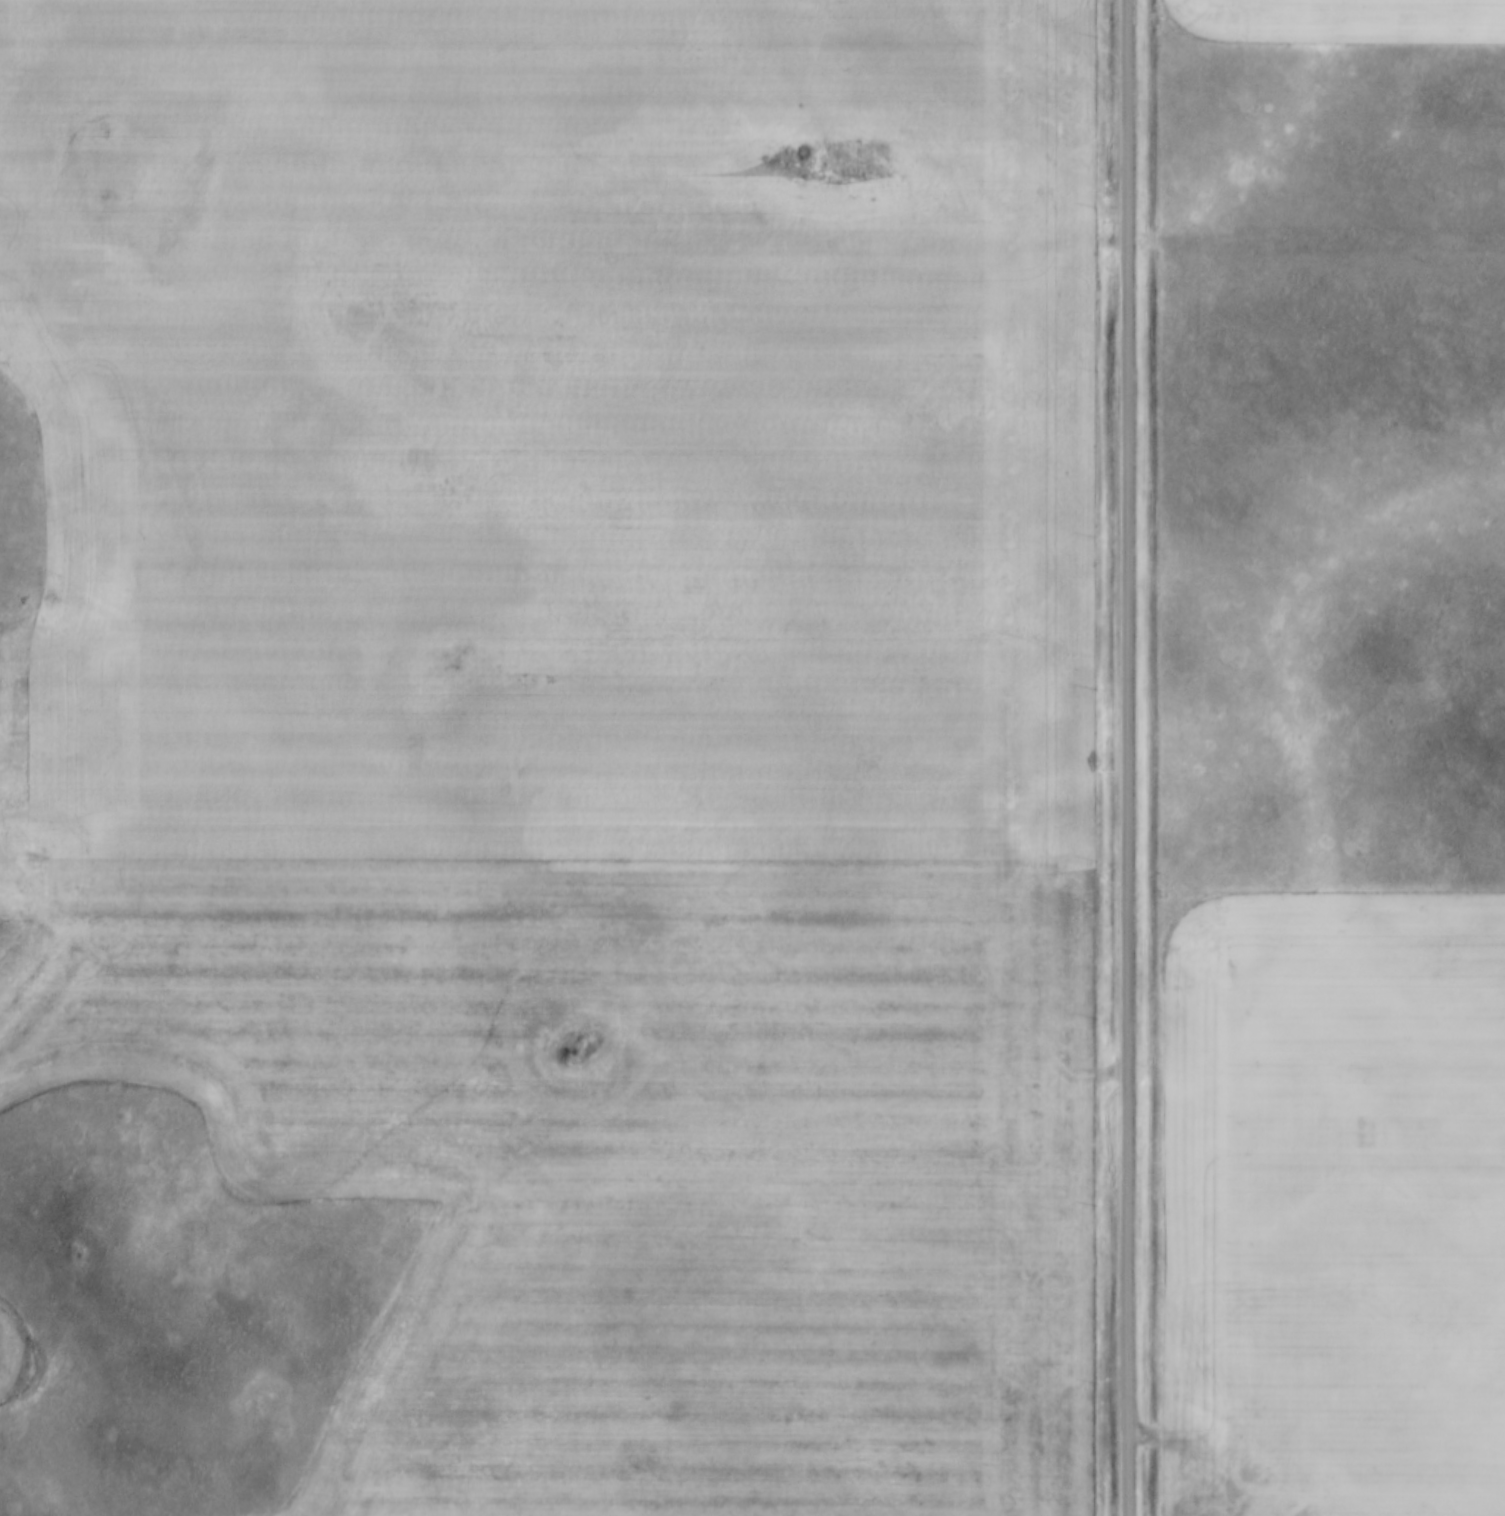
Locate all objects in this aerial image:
road: (1126, 758)

